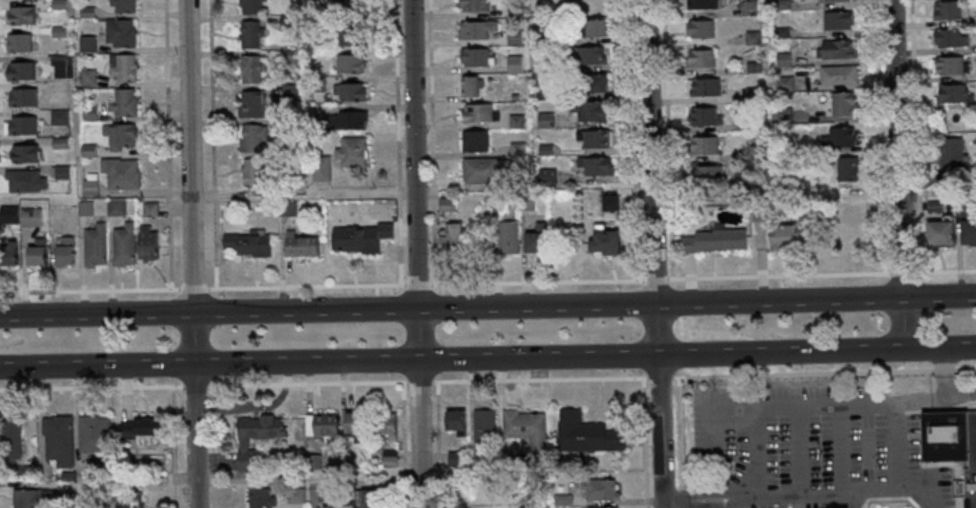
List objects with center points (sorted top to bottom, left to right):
building: (833, 0)
building: (315, 2)
building: (56, 4)
building: (701, 4)
building: (472, 5)
building: (780, 5)
building: (121, 6)
building: (249, 6)
building: (747, 8)
building: (350, 9)
building: (947, 10)
building: (85, 12)
building: (19, 15)
building: (836, 20)
building: (286, 22)
building: (316, 27)
building: (591, 28)
building: (474, 29)
building: (699, 29)
building: (56, 32)
building: (116, 32)
building: (780, 32)
building: (249, 34)
building: (350, 37)
building: (513, 37)
building: (751, 38)
building: (948, 38)
building: (542, 39)
building: (17, 42)
building: (85, 43)
building: (835, 49)
building: (586, 55)
building: (287, 56)
building: (474, 58)
building: (698, 59)
building: (780, 59)
building: (347, 63)
building: (512, 65)
building: (60, 66)
building: (949, 66)
building: (542, 67)
building: (752, 67)
building: (121, 68)
building: (250, 68)
building: (18, 71)
building: (837, 75)
building: (86, 77)
building: (590, 83)
building: (316, 84)
building: (783, 84)
building: (466, 87)
building: (703, 87)
building: (288, 92)
building: (348, 92)
building: (951, 94)
building: (543, 95)
building: (751, 95)
building: (512, 97)
building: (20, 98)
building: (122, 103)
building: (840, 103)
building: (251, 106)
building: (588, 111)
building: (88, 113)
building: (476, 113)
building: (782, 116)
building: (702, 117)
building: (57, 118)
building: (544, 120)
building: (344, 121)
building: (514, 121)
building: (20, 125)
building: (288, 125)
building: (752, 125)
building: (118, 135)
building: (250, 138)
building: (593, 138)
building: (837, 138)
building: (473, 141)
building: (58, 143)
road: (164, 144)
building: (705, 145)
building: (86, 150)
building: (515, 150)
building: (544, 150)
building: (350, 152)
building: (756, 152)
building: (950, 152)
building: (23, 154)
building: (594, 166)
building: (319, 168)
building: (290, 169)
building: (483, 170)
building: (845, 170)
building: (60, 172)
building: (119, 173)
building: (251, 173)
road: (897, 174)
building: (705, 175)
building: (545, 176)
building: (754, 180)
building: (783, 180)
building: (23, 181)
building: (88, 185)
building: (484, 198)
building: (526, 203)
building: (608, 203)
building: (839, 204)
building: (445, 205)
building: (933, 206)
building: (114, 207)
building: (509, 207)
building: (83, 208)
building: (285, 209)
building: (148, 210)
building: (961, 210)
building: (7, 214)
building: (758, 214)
building: (28, 217)
building: (939, 232)
building: (967, 233)
building: (786, 235)
building: (848, 237)
building: (360, 238)
building: (505, 238)
building: (448, 240)
building: (534, 240)
building: (602, 241)
building: (712, 241)
building: (246, 243)
building: (121, 245)
building: (144, 245)
building: (298, 245)
building: (92, 246)
building: (62, 250)
building: (34, 253)
road: (416, 253)
building: (7, 254)
road: (191, 254)
road: (653, 254)
road: (592, 280)
road: (187, 288)
road: (83, 289)
road: (488, 306)
road: (488, 358)
road: (172, 371)
road: (942, 372)
road: (822, 374)
road: (657, 378)
road: (427, 382)
road: (195, 385)
road: (91, 386)
road: (959, 394)
road: (916, 400)
road: (778, 408)
building: (453, 422)
building: (383, 425)
building: (324, 427)
building: (352, 427)
building: (526, 427)
building: (482, 429)
building: (139, 430)
building: (586, 433)
building: (92, 434)
road: (401, 434)
building: (254, 437)
road: (676, 439)
building: (56, 440)
road: (173, 442)
building: (954, 442)
road: (643, 443)
road: (437, 445)
road: (894, 445)
road: (218, 446)
parking lot: (813, 448)
building: (10, 450)
road: (839, 452)
road: (797, 453)
road: (755, 454)
building: (388, 458)
building: (470, 458)
building: (453, 459)
building: (311, 461)
building: (95, 467)
building: (66, 476)
building: (600, 489)
road: (851, 493)
building: (323, 494)
road: (708, 495)
building: (294, 496)
building: (258, 498)
building: (35, 499)
building: (368, 499)
building: (130, 500)
building: (93, 501)
building: (561, 501)
road: (739, 503)
road: (687, 505)
building: (603, 507)

